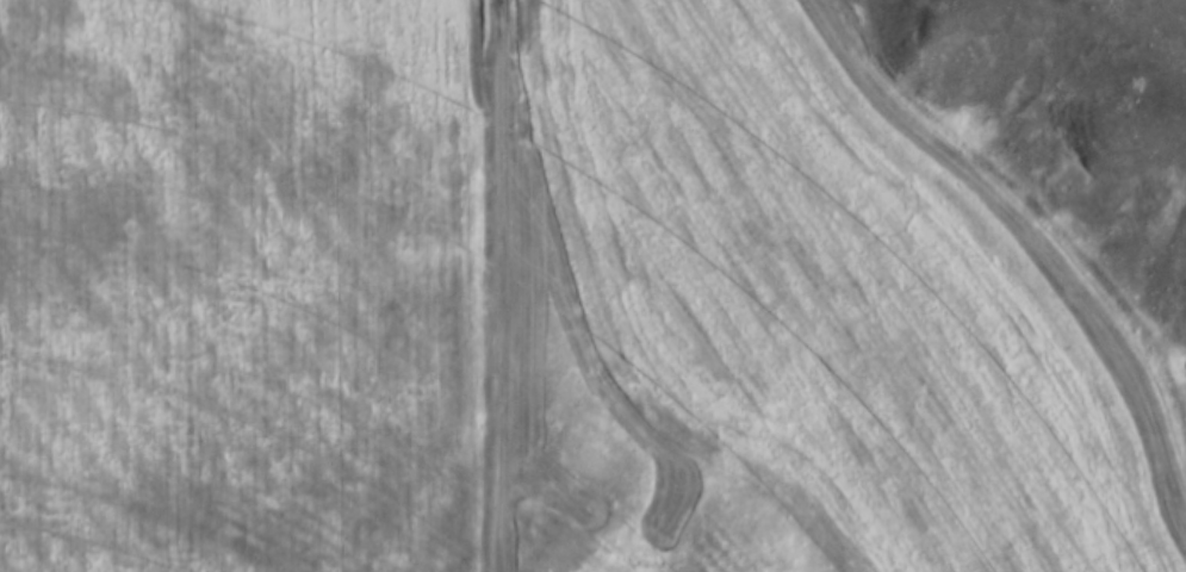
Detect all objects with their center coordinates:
road: (507, 286)

